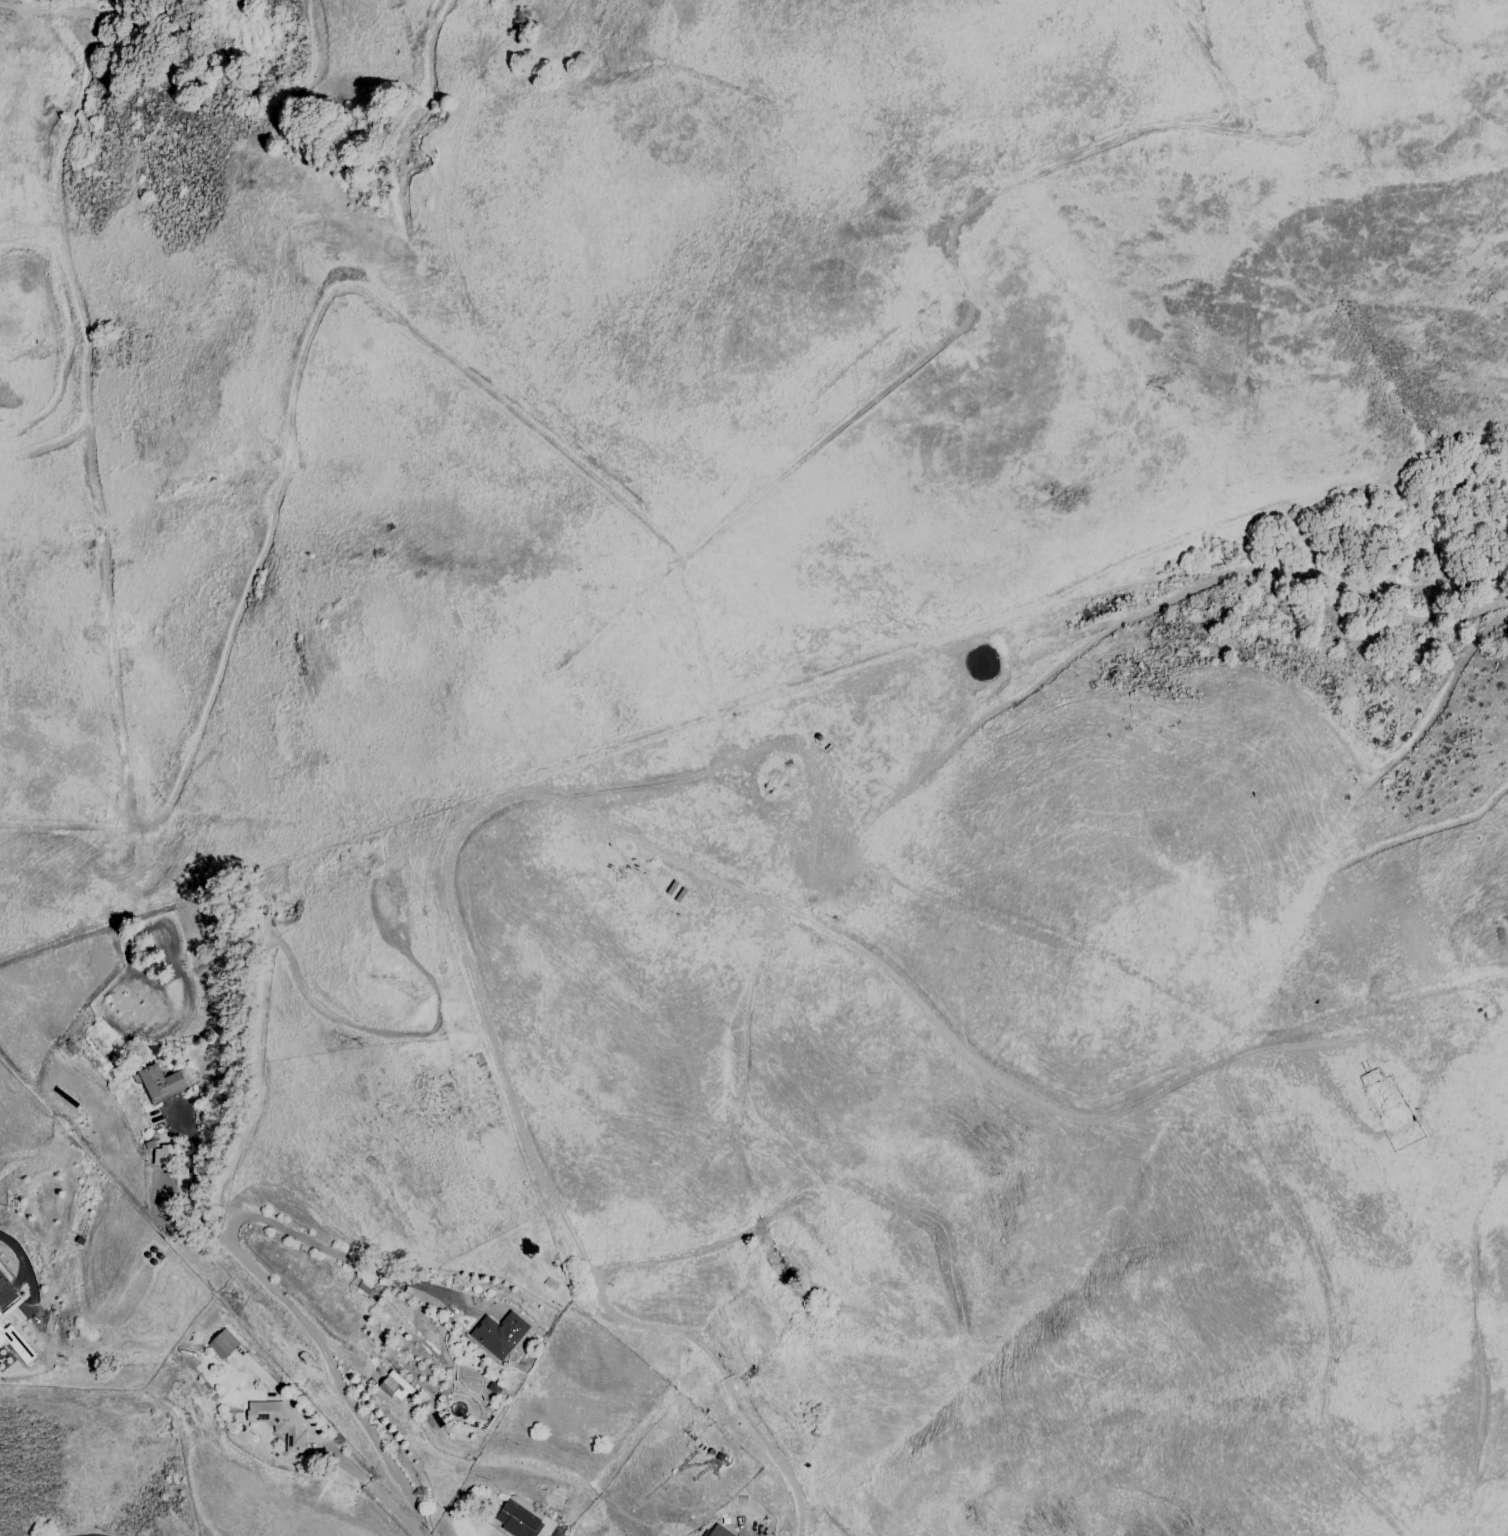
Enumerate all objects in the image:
road: (480, 1001)
building: (158, 1082)
road: (1109, 1115)
building: (162, 1155)
road: (190, 1179)
road: (15, 1249)
road: (680, 1258)
building: (792, 1261)
road: (260, 1276)
building: (3, 1328)
building: (498, 1333)
building: (221, 1343)
building: (20, 1352)
building: (390, 1383)
building: (493, 1387)
building: (278, 1422)
road: (377, 1490)
building: (528, 1507)
building: (516, 1520)
building: (718, 1531)

